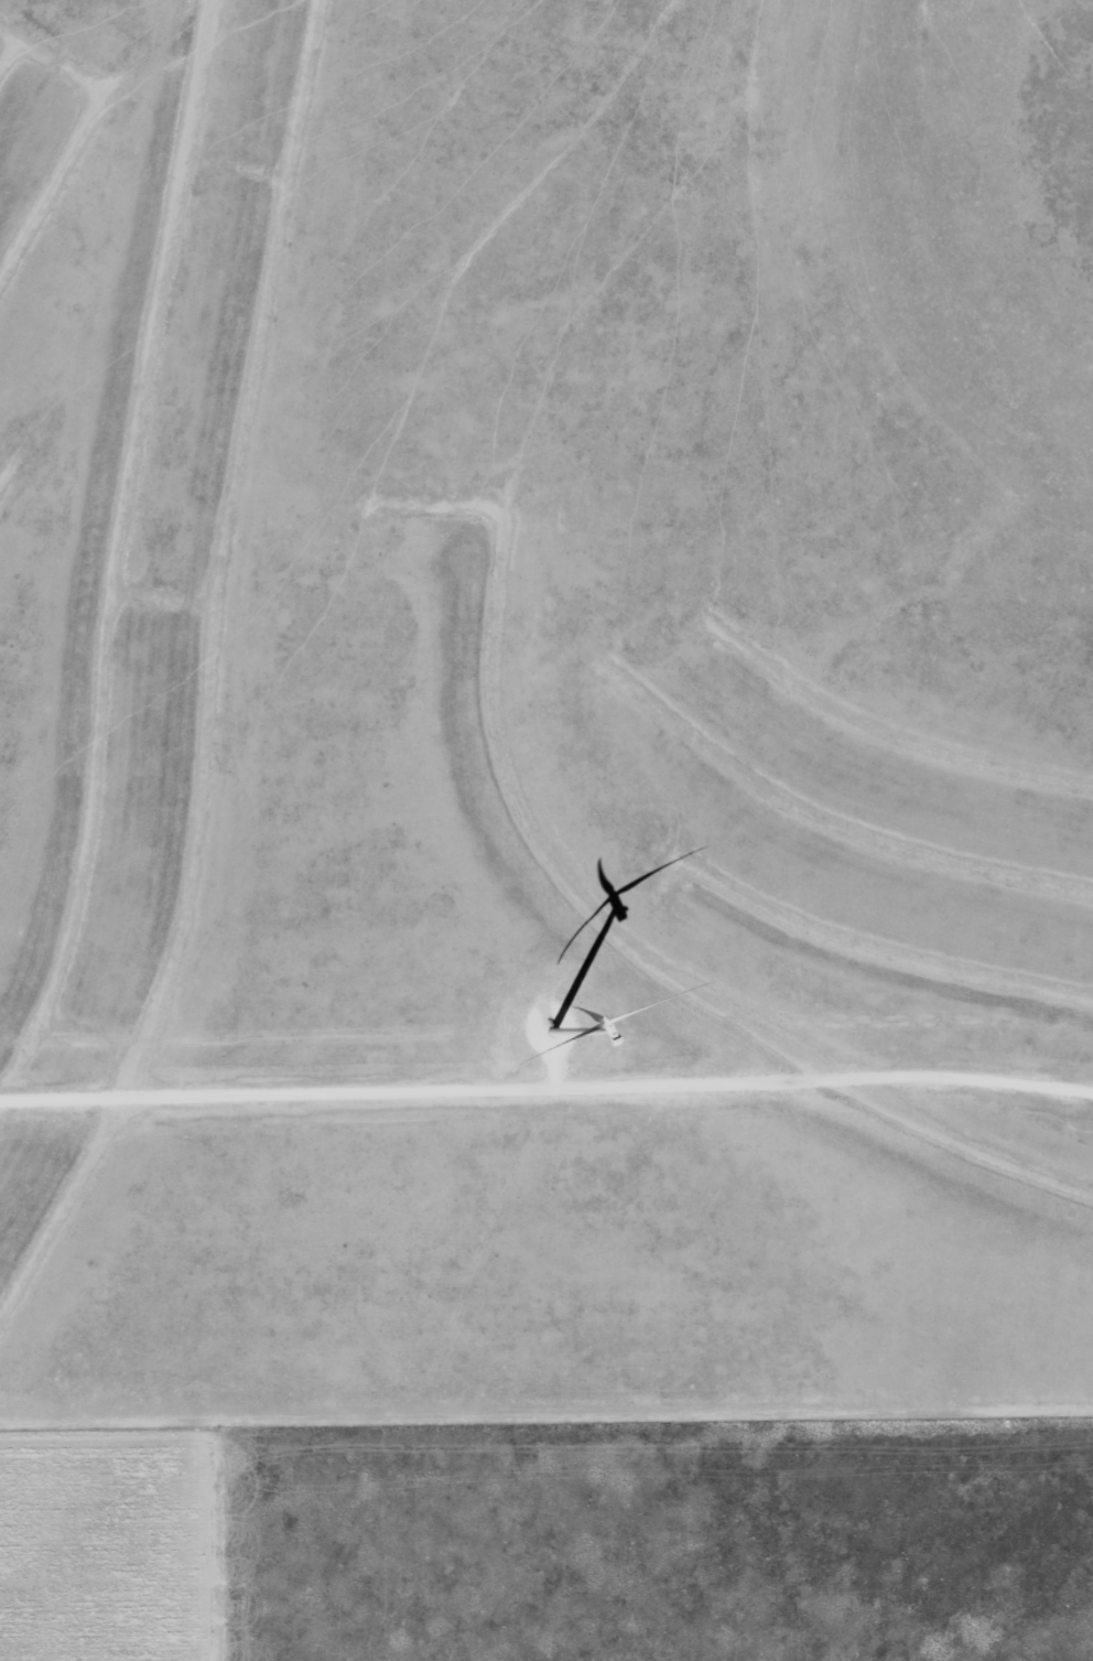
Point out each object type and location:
wind turbine: (558, 1036)

